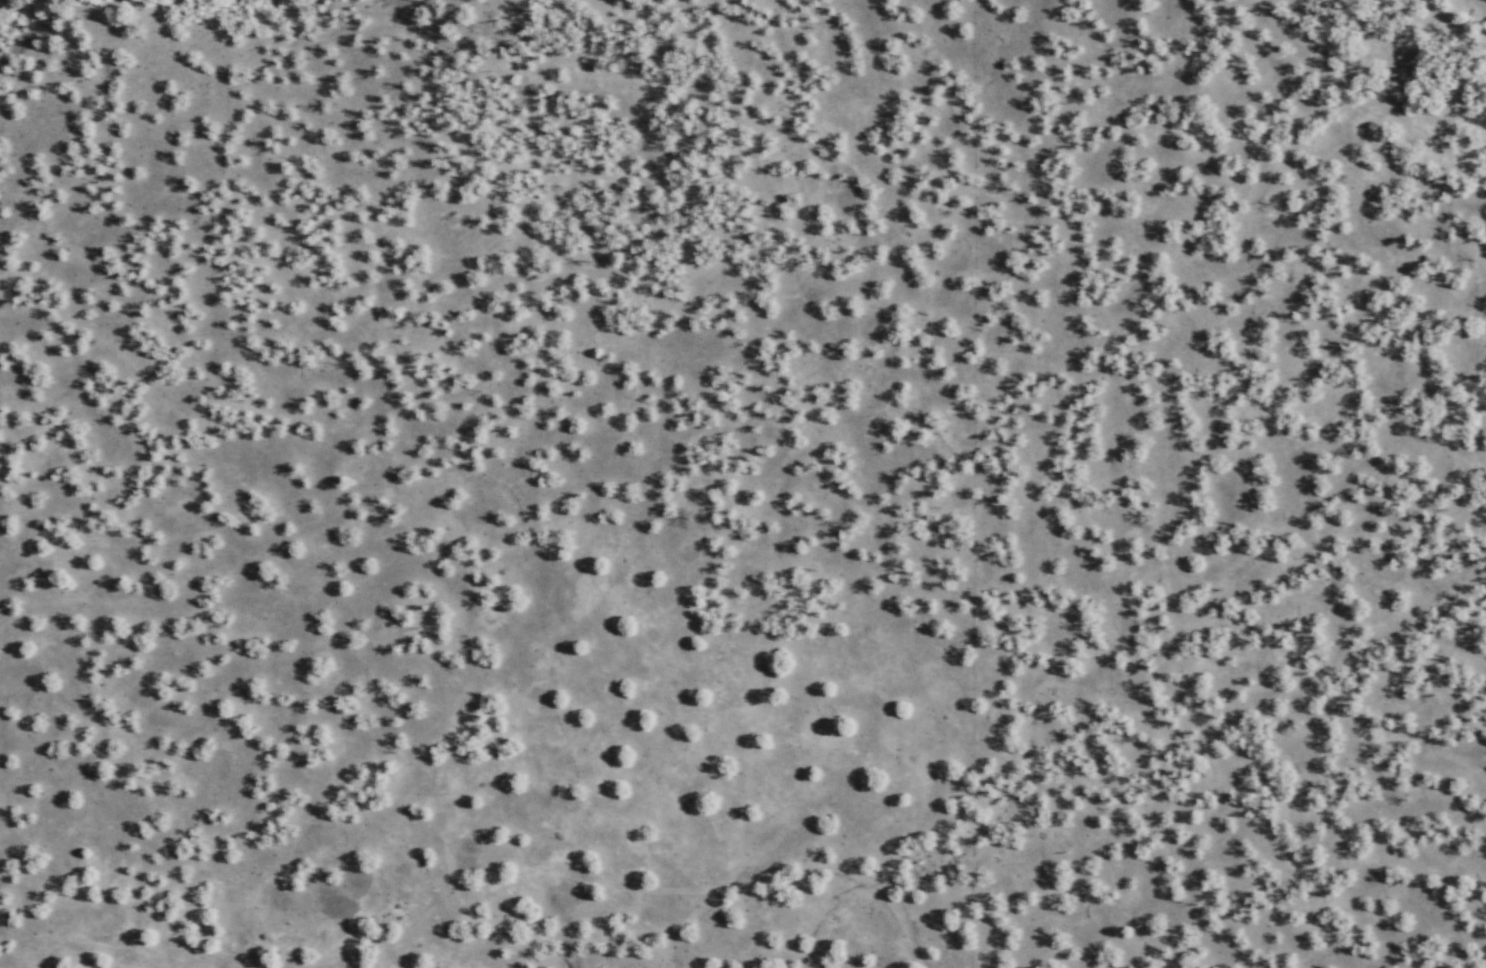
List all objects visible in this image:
road: (617, 885)
road: (2, 967)

